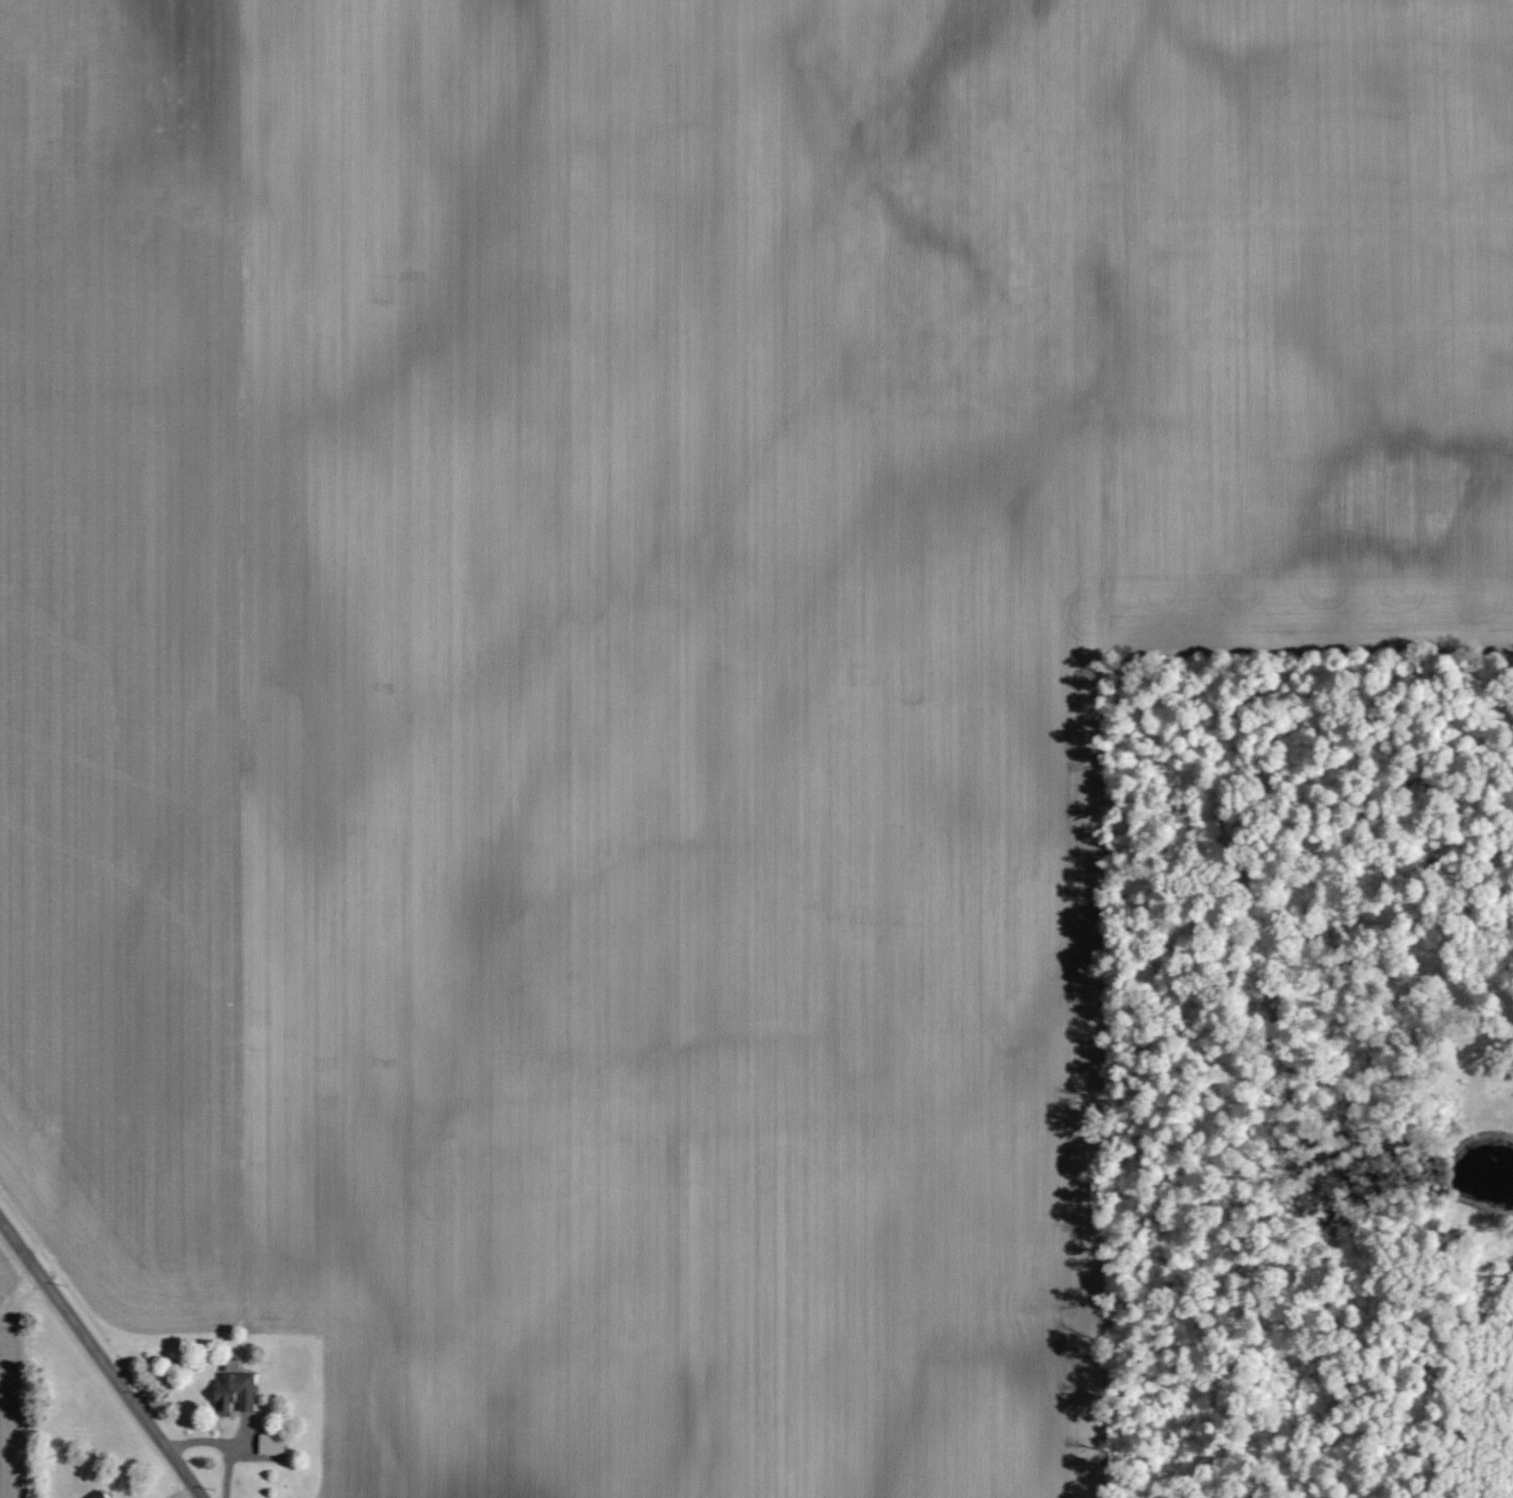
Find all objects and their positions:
road: (100, 1360)
building: (237, 1391)
building: (272, 1443)
building: (107, 1497)

